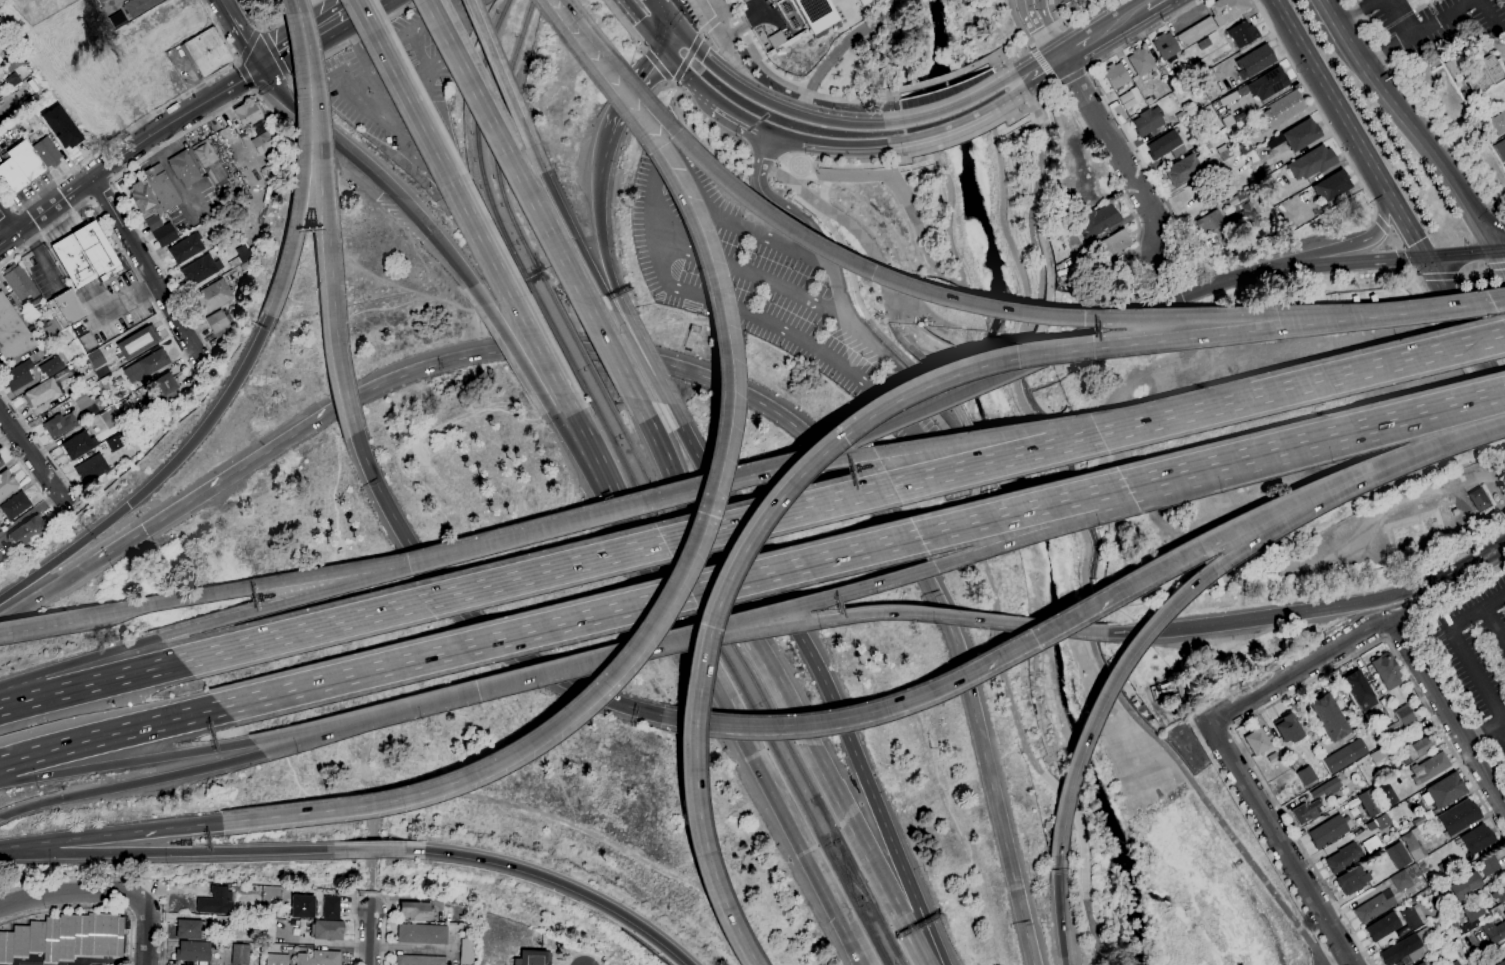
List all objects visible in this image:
building: (745, 0)
building: (100, 1)
road: (1172, 1)
building: (863, 2)
building: (740, 3)
building: (138, 6)
road: (1158, 10)
building: (1226, 10)
road: (1357, 10)
road: (730, 11)
parking lot: (1042, 11)
road: (666, 12)
road: (1490, 13)
road: (724, 14)
road: (762, 14)
building: (814, 14)
road: (1110, 14)
road: (1402, 17)
building: (117, 19)
road: (1061, 20)
road: (272, 23)
road: (626, 24)
road: (646, 24)
traffic signals: (676, 25)
road: (1041, 25)
building: (187, 26)
road: (710, 26)
road: (259, 27)
road: (261, 28)
road: (735, 29)
road: (740, 29)
road: (307, 31)
building: (1196, 31)
road: (1417, 31)
road: (242, 34)
building: (1242, 34)
road: (924, 35)
road: (671, 36)
road: (724, 37)
road: (329, 38)
building: (776, 39)
road: (1071, 39)
road: (1105, 40)
building: (1208, 40)
road: (349, 42)
road: (249, 44)
building: (1166, 46)
traffic signals: (666, 48)
building: (134, 50)
park: (894, 50)
road: (837, 51)
building: (209, 52)
road: (1306, 52)
road: (274, 53)
road: (1004, 54)
road: (1060, 56)
road: (688, 58)
road: (1040, 58)
road: (238, 60)
building: (1141, 61)
building: (1254, 61)
road: (237, 62)
road: (660, 65)
road: (1028, 66)
building: (1454, 66)
traffic signals: (262, 69)
road: (500, 73)
road: (1048, 73)
building: (116, 74)
building: (1485, 74)
road: (466, 75)
building: (1115, 75)
road: (193, 76)
road: (246, 76)
road: (688, 76)
road: (1072, 77)
road: (289, 78)
road: (942, 78)
building: (12, 80)
road: (288, 80)
building: (1170, 83)
building: (1268, 83)
road: (271, 84)
building: (34, 85)
parking lot: (403, 85)
road: (1097, 85)
building: (1457, 85)
road: (635, 87)
road: (253, 90)
road: (255, 91)
road: (811, 93)
road: (1013, 94)
building: (1463, 95)
building: (1128, 97)
building: (1230, 97)
road: (1026, 98)
building: (1149, 100)
road: (775, 105)
road: (953, 108)
building: (1281, 109)
road: (1429, 109)
road: (1321, 112)
road: (321, 114)
road: (1017, 115)
road: (1031, 116)
building: (1181, 116)
road: (744, 117)
road: (141, 121)
road: (707, 121)
building: (1147, 121)
building: (1228, 121)
road: (1032, 122)
building: (1498, 123)
road: (1409, 124)
road: (951, 125)
building: (257, 126)
road: (345, 130)
building: (64, 133)
road: (997, 135)
building: (1298, 135)
road: (958, 140)
road: (1000, 140)
road: (839, 143)
road: (1359, 143)
railway: (478, 145)
building: (1166, 145)
railway: (497, 146)
road: (789, 147)
building: (1223, 147)
building: (1245, 147)
road: (435, 148)
building: (1500, 148)
road: (126, 150)
road: (348, 150)
building: (46, 152)
road: (1118, 154)
building: (1226, 154)
road: (761, 155)
road: (304, 159)
road: (780, 159)
road: (937, 160)
building: (26, 161)
road: (789, 162)
building: (1311, 162)
building: (212, 165)
road: (601, 165)
road: (840, 165)
road: (939, 165)
building: (184, 168)
building: (1184, 169)
road: (1108, 170)
road: (893, 171)
road: (895, 174)
building: (11, 177)
building: (1332, 186)
road: (102, 189)
road: (121, 195)
building: (168, 197)
road: (1001, 205)
building: (1078, 210)
building: (151, 213)
road: (8, 216)
building: (1252, 217)
road: (1375, 217)
road: (1500, 217)
flagpole: (80, 218)
road: (1404, 219)
road: (61, 220)
building: (1098, 220)
road: (8, 221)
road: (1504, 222)
building: (1212, 223)
road: (1382, 225)
road: (546, 226)
road: (570, 228)
traffic signals: (432, 234)
road: (116, 239)
road: (1394, 241)
building: (1117, 242)
road: (867, 245)
road: (1501, 247)
building: (186, 248)
traffic signals: (1497, 248)
road: (1332, 250)
road: (1461, 252)
road: (1501, 254)
road: (40, 255)
building: (85, 255)
building: (241, 256)
building: (1078, 256)
traffic signals: (1426, 256)
road: (605, 258)
road: (1405, 258)
road: (1330, 264)
road: (1497, 265)
road: (460, 267)
road: (145, 269)
building: (200, 269)
road: (1474, 275)
road: (1440, 276)
road: (1422, 277)
road: (962, 279)
building: (21, 284)
road: (674, 288)
parking lot: (778, 291)
road: (928, 294)
building: (212, 296)
road: (1478, 303)
road: (842, 307)
building: (65, 308)
road: (115, 308)
road: (1148, 310)
road: (1428, 311)
road: (1465, 322)
building: (218, 324)
building: (51, 328)
building: (13, 332)
road: (336, 332)
building: (85, 338)
building: (140, 340)
road: (539, 344)
road: (513, 347)
railway: (563, 348)
road: (634, 348)
road: (644, 348)
road: (1456, 348)
railway: (580, 349)
road: (582, 349)
road: (611, 350)
building: (95, 358)
building: (146, 365)
building: (51, 366)
road: (421, 369)
building: (17, 376)
building: (166, 384)
road: (1301, 385)
building: (50, 386)
road: (917, 389)
road: (663, 394)
building: (82, 400)
building: (129, 411)
road: (1440, 414)
building: (110, 418)
road: (723, 420)
building: (60, 425)
road: (588, 436)
road: (574, 437)
road: (841, 438)
road: (859, 438)
road: (40, 443)
building: (113, 443)
building: (79, 445)
road: (871, 455)
road: (1251, 458)
road: (34, 460)
building: (0, 461)
building: (90, 466)
road: (1348, 476)
road: (29, 477)
road: (158, 479)
river: (1022, 479)
building: (6, 484)
building: (1477, 498)
building: (15, 505)
road: (181, 506)
road: (542, 529)
building: (26, 531)
road: (1488, 536)
road: (639, 549)
road: (1499, 549)
road: (1185, 554)
road: (984, 555)
traffic signals: (1172, 561)
road: (1207, 570)
road: (1085, 572)
traffic signals: (1197, 578)
road: (1444, 585)
road: (261, 587)
road: (674, 597)
road: (829, 597)
road: (298, 599)
road: (939, 600)
road: (1304, 611)
road: (470, 614)
road: (8, 620)
road: (811, 621)
road: (1415, 622)
road: (1055, 624)
road: (1495, 625)
road: (43, 626)
road: (1401, 628)
road: (1421, 630)
road: (1387, 636)
road: (1459, 646)
parking lot: (1475, 646)
road: (85, 659)
road: (1301, 668)
road: (1263, 670)
building: (1385, 670)
road: (820, 675)
road: (103, 680)
road: (777, 683)
railway: (744, 686)
railway: (760, 688)
building: (1359, 689)
road: (1291, 693)
road: (440, 700)
road: (13, 703)
road: (729, 705)
road: (1449, 711)
building: (1404, 714)
building: (1328, 717)
road: (801, 724)
building: (1288, 728)
road: (1485, 728)
building: (1393, 730)
road: (305, 731)
road: (110, 734)
road: (311, 737)
building: (1257, 741)
building: (1416, 748)
building: (1350, 752)
building: (1382, 752)
road: (1492, 752)
building: (1272, 757)
road: (125, 762)
building: (1394, 765)
building: (1430, 767)
building: (1306, 775)
road: (130, 783)
building: (1327, 788)
building: (1443, 791)
building: (1388, 797)
traffic signals: (62, 798)
building: (1369, 802)
road: (340, 809)
building: (1306, 811)
building: (1458, 816)
building: (1382, 821)
road: (140, 831)
building: (1328, 831)
building: (1476, 838)
road: (1259, 841)
road: (29, 844)
road: (1281, 844)
building: (1371, 844)
building: (1412, 844)
road: (382, 847)
road: (170, 852)
building: (1398, 855)
building: (1343, 858)
building: (1488, 864)
building: (1422, 866)
building: (1416, 869)
building: (1444, 869)
railway: (848, 872)
railway: (848, 872)
road: (1239, 874)
road: (121, 877)
building: (1352, 880)
building: (1402, 881)
road: (566, 884)
building: (1464, 885)
building: (1433, 886)
road: (71, 892)
building: (1481, 893)
building: (1500, 893)
road: (372, 895)
building: (216, 901)
road: (91, 906)
building: (302, 906)
building: (1374, 906)
building: (331, 907)
building: (1496, 909)
road: (1058, 910)
building: (416, 911)
building: (1504, 913)
building: (1471, 916)
building: (1411, 919)
building: (1435, 923)
building: (1382, 927)
building: (190, 929)
building: (327, 930)
building: (1493, 931)
road: (146, 932)
building: (422, 934)
building: (65, 937)
road: (370, 938)
building: (1409, 946)
road: (852, 948)
road: (855, 948)
building: (466, 949)
building: (193, 951)
building: (240, 954)
road: (584, 954)
building: (1411, 956)
building: (319, 958)
building: (532, 958)
building: (277, 959)
building: (420, 960)
building: (1421, 963)
building: (1500, 963)

